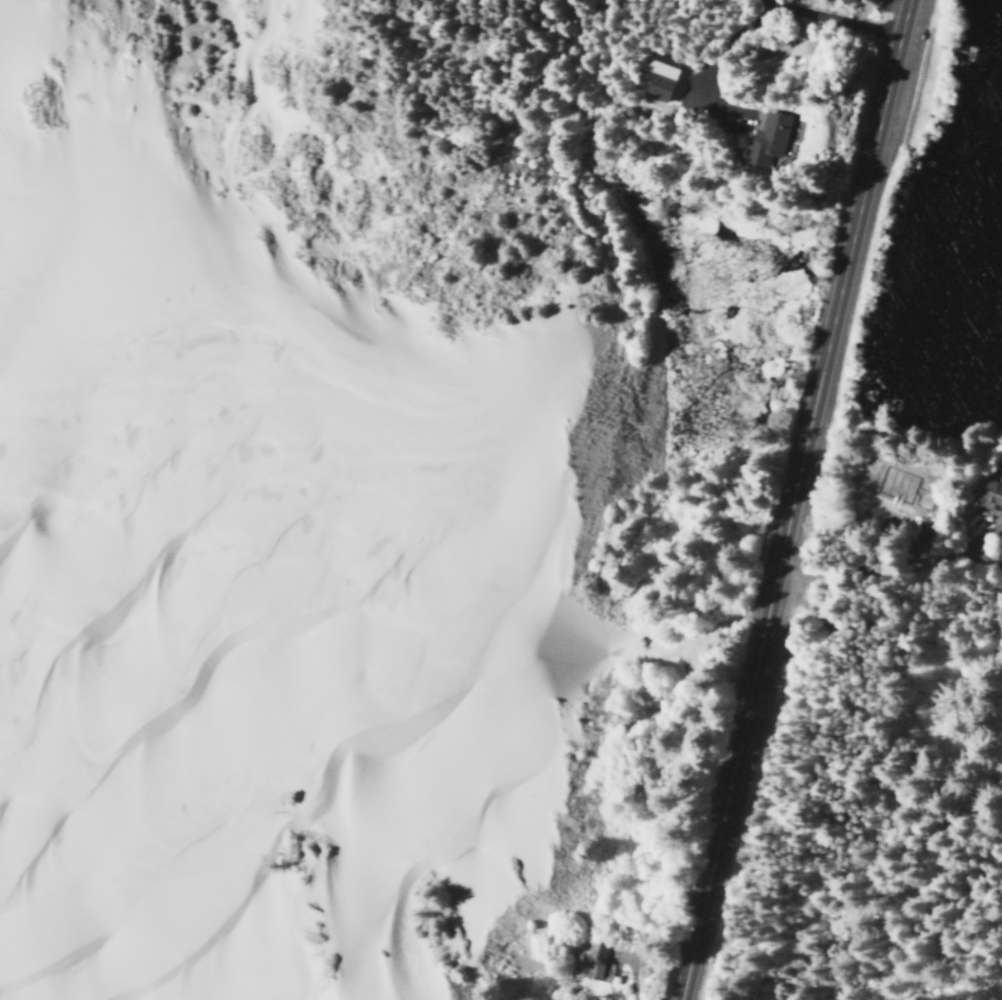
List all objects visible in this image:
parking lot: (914, 73)
building: (655, 78)
building: (766, 138)
building: (991, 493)
road: (793, 499)
road: (883, 635)
building: (593, 962)

